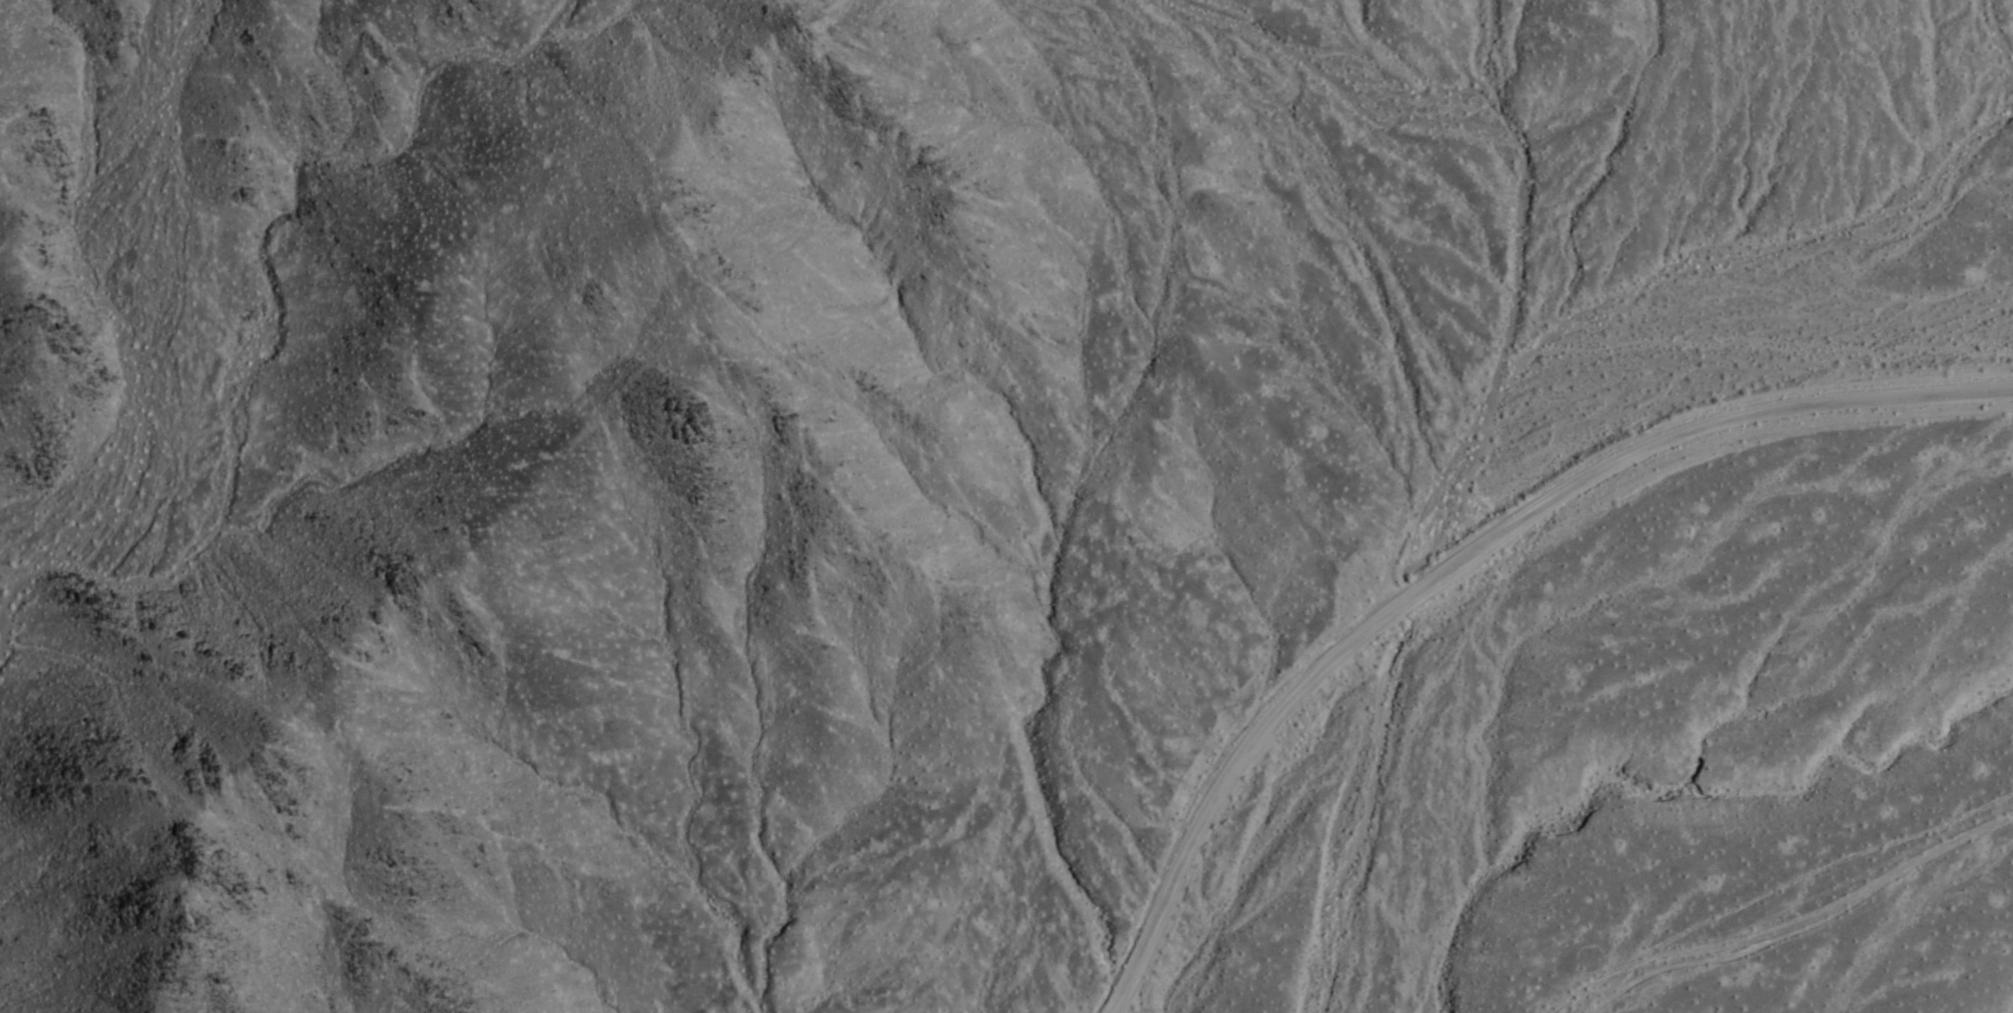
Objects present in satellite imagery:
road: (1471, 562)

